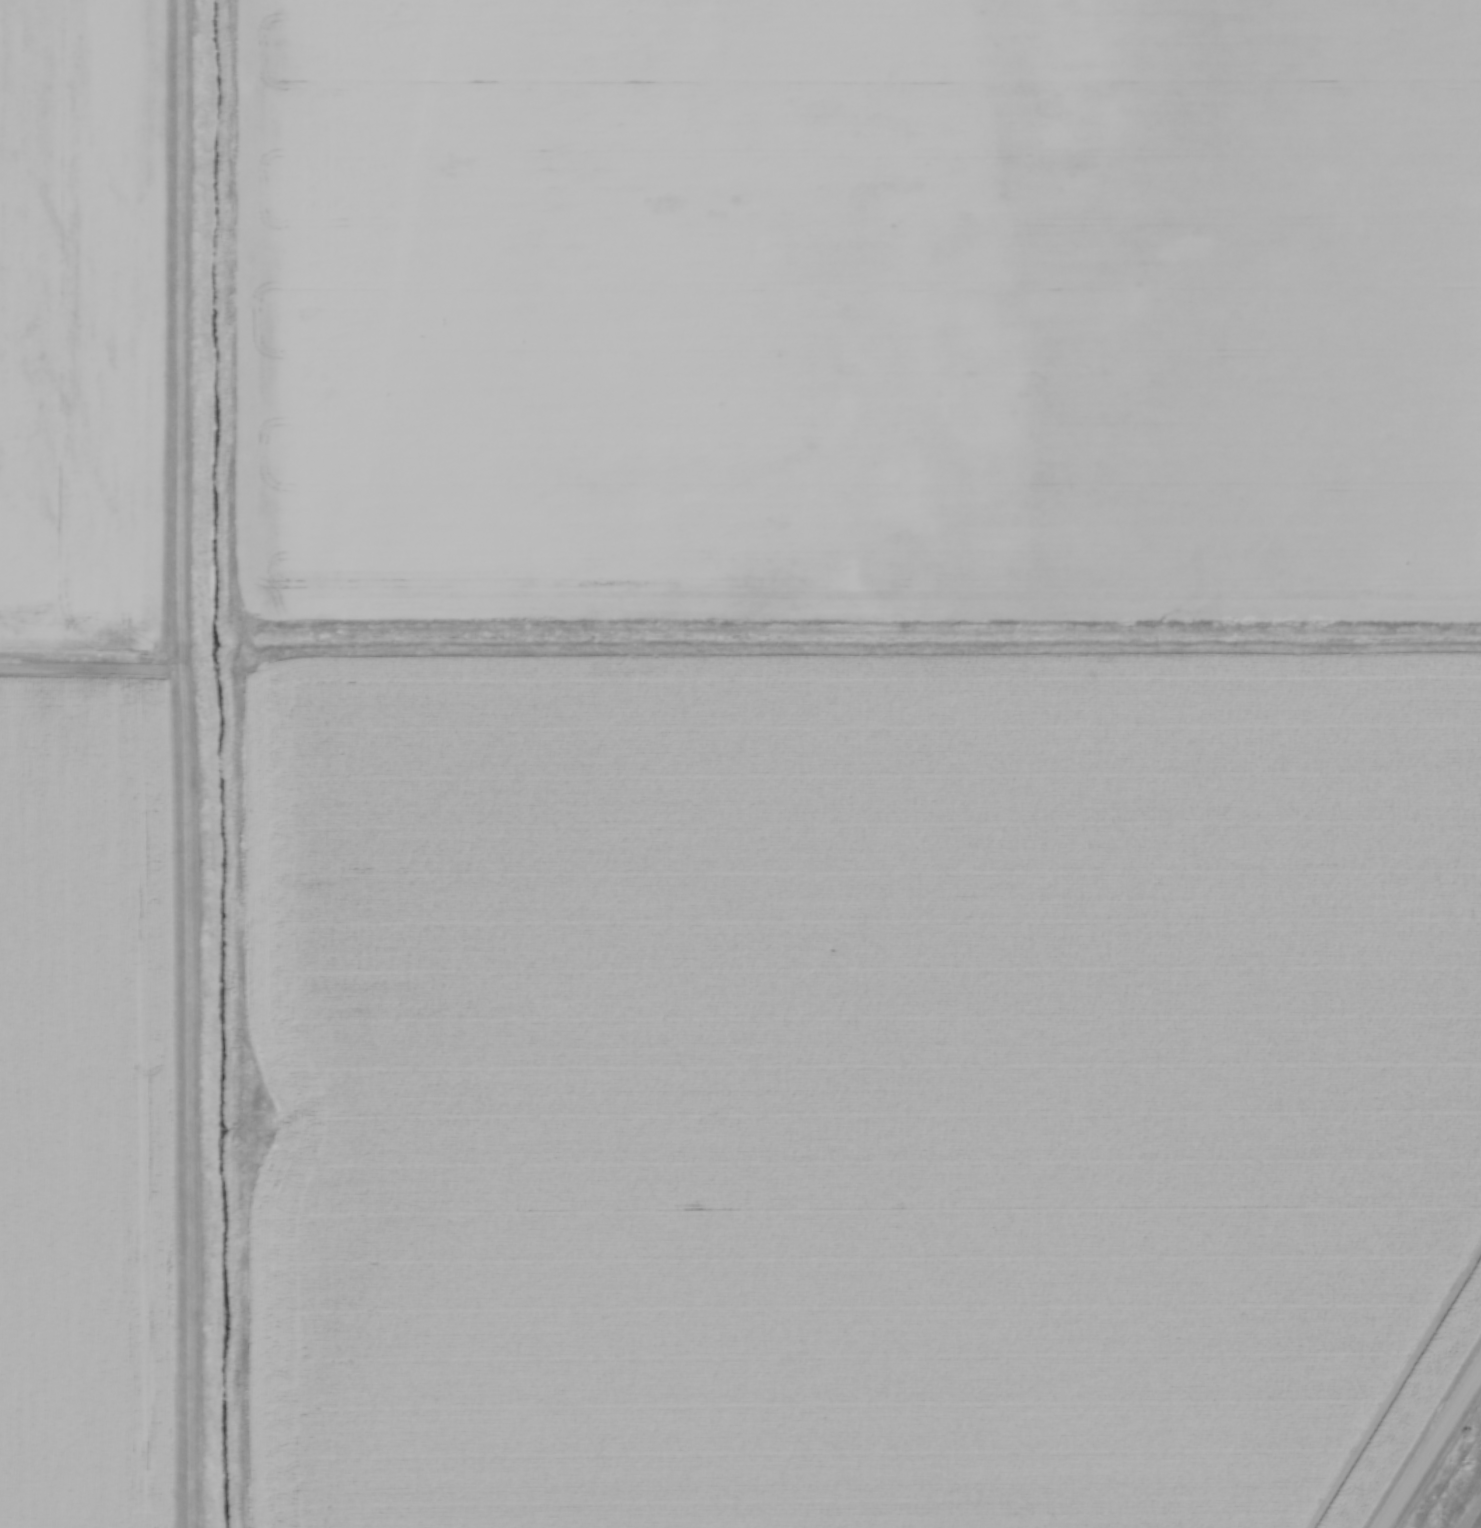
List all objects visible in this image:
road: (1431, 1447)

